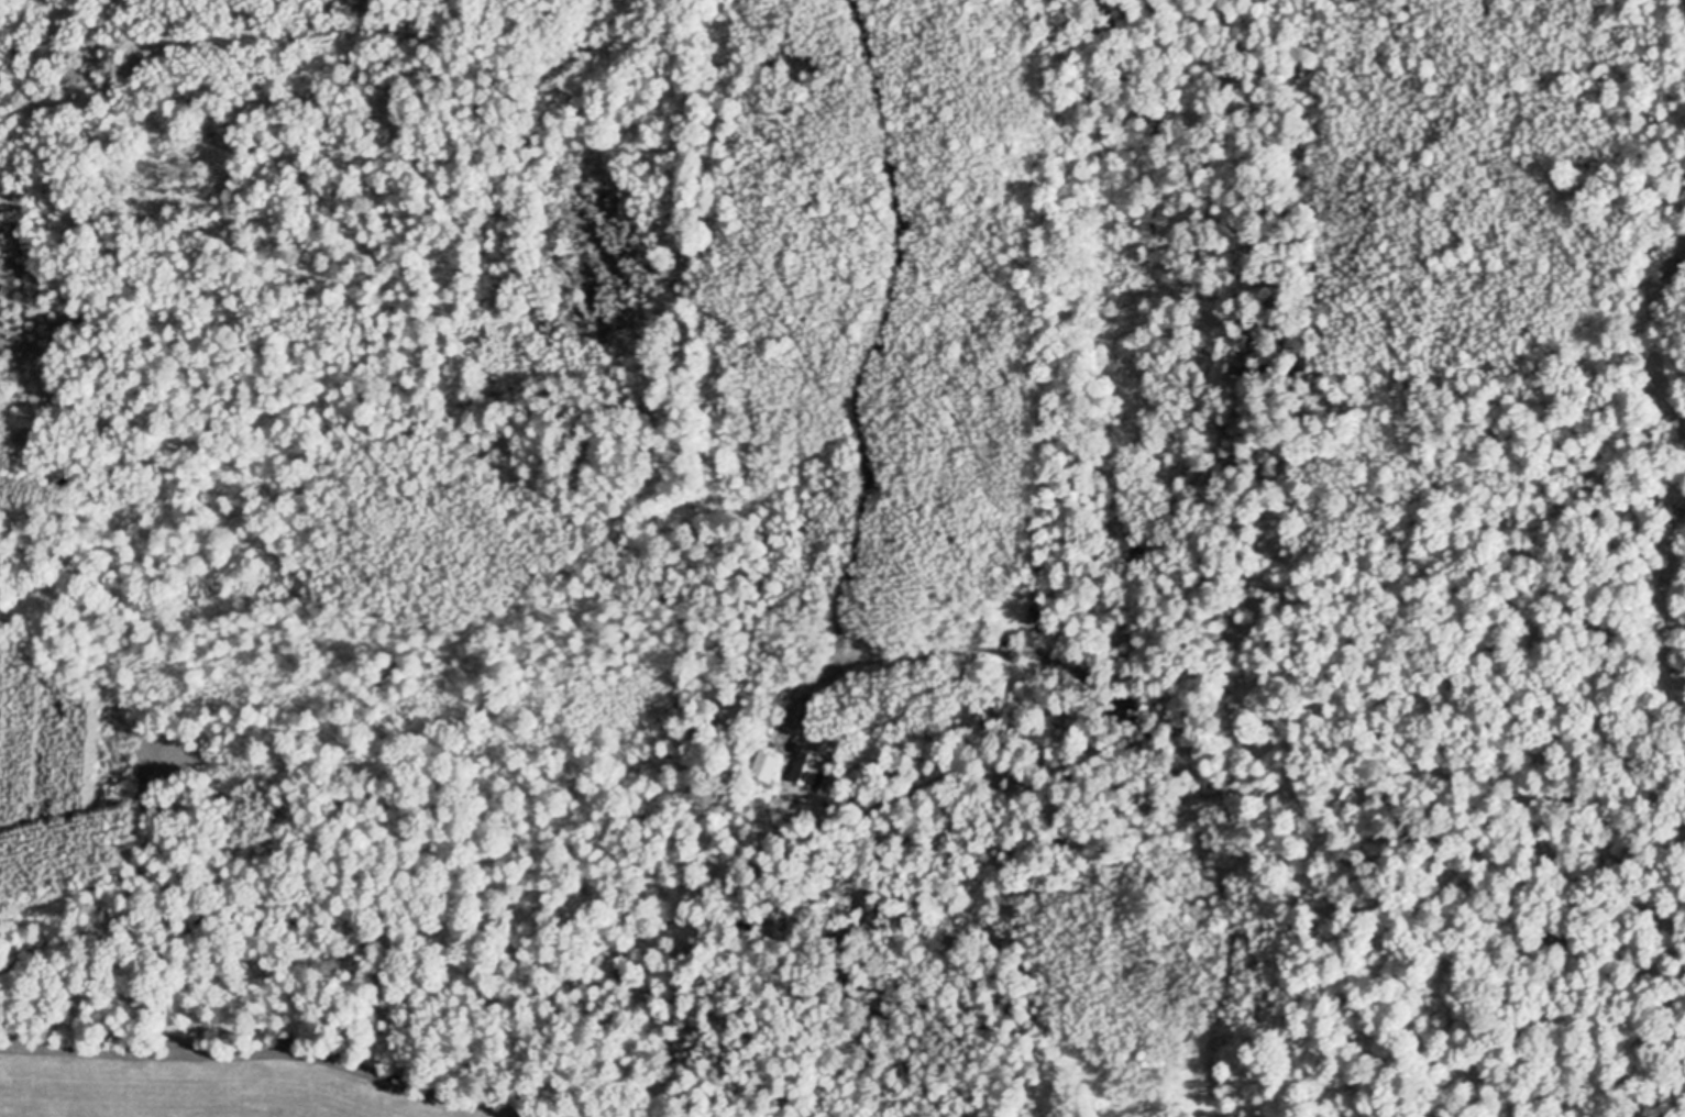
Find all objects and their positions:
road: (879, 324)
building: (770, 764)

